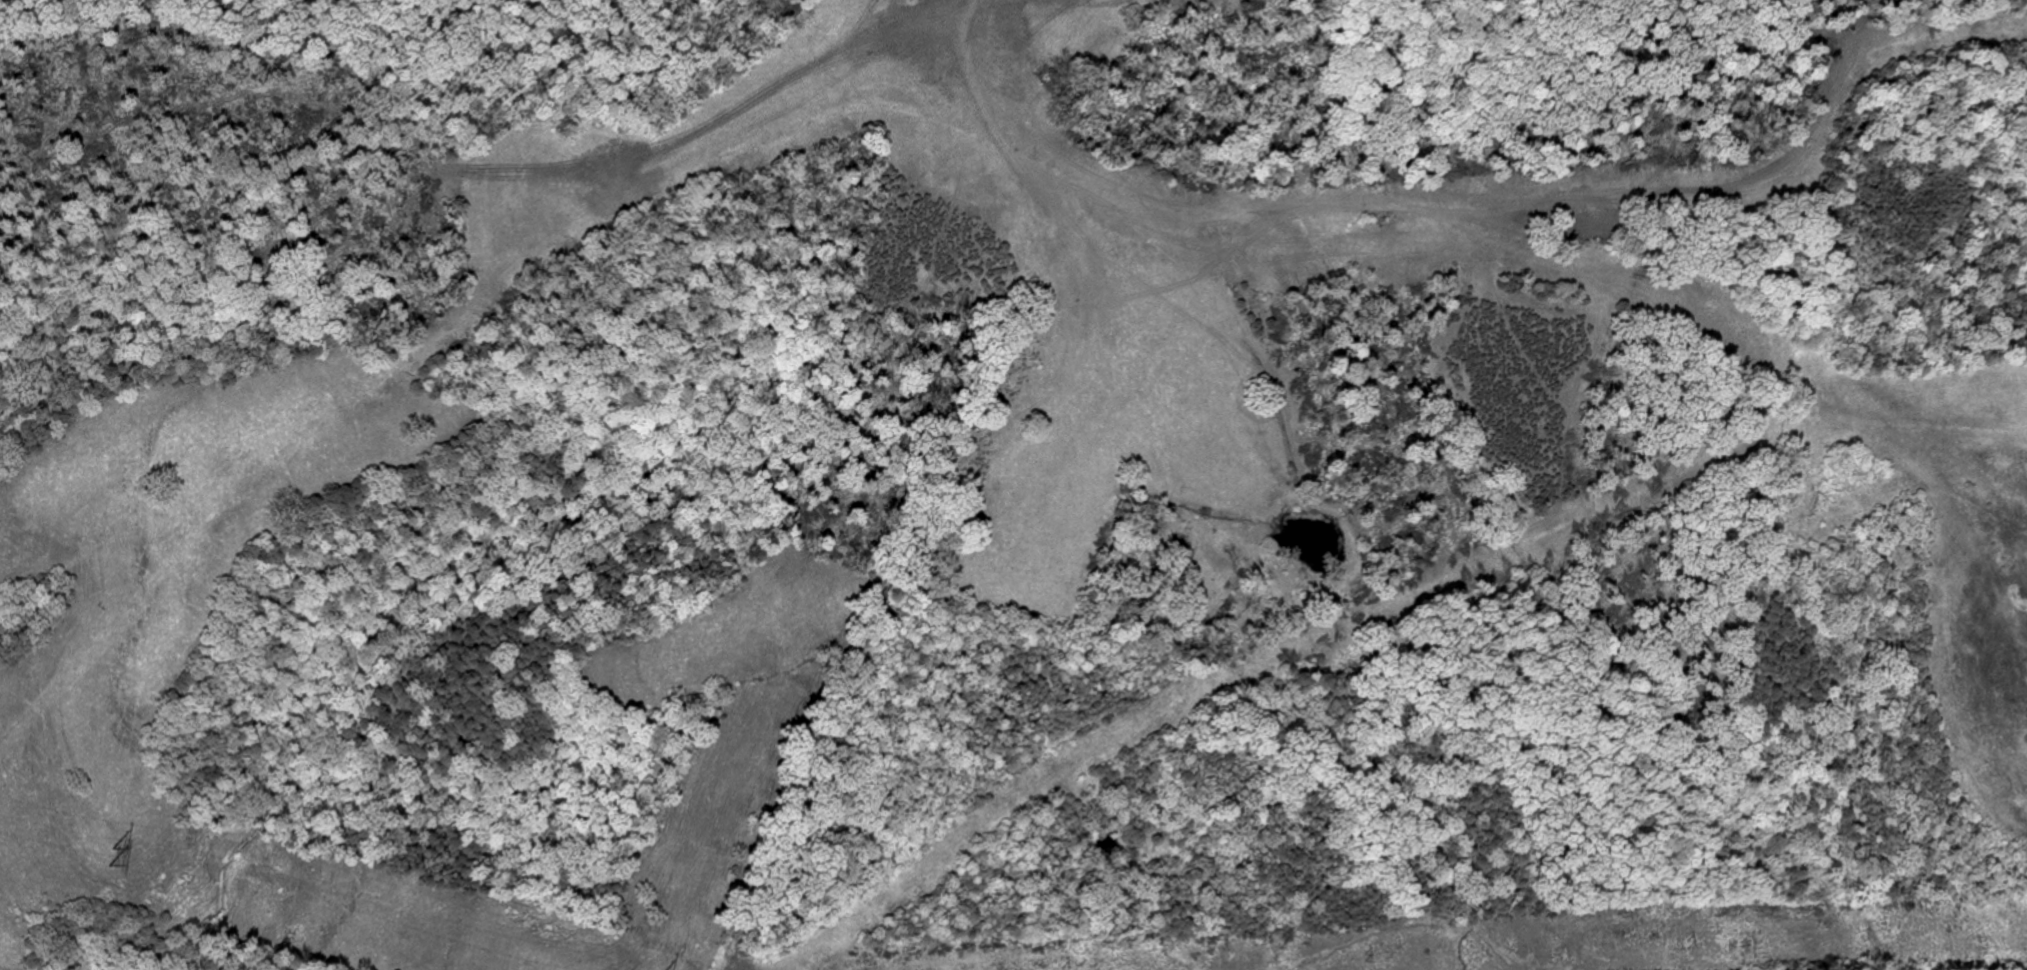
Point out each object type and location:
power tower: (124, 852)
power tower: (1692, 942)
power tower: (1366, 956)
power tower: (1065, 969)

